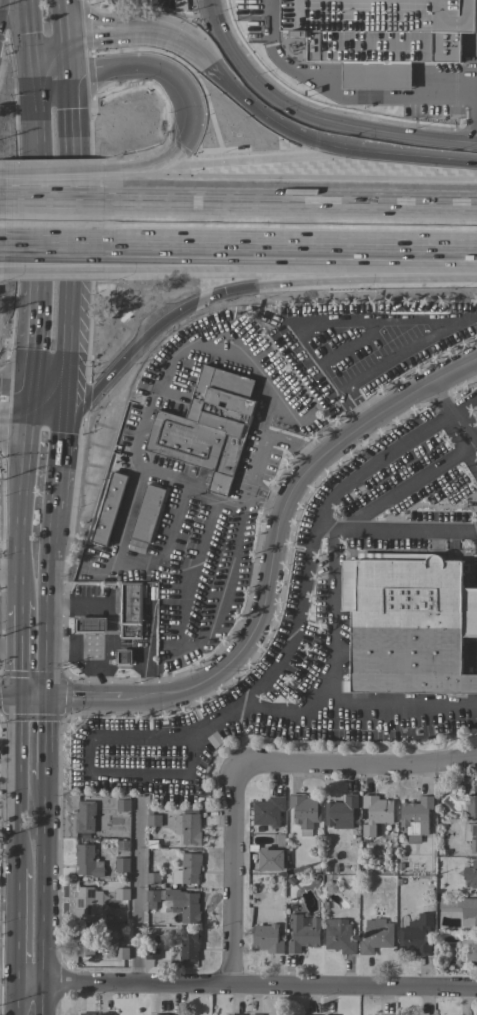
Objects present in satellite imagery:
building: (180, 5)
road: (2, 11)
road: (63, 26)
road: (29, 30)
building: (380, 36)
road: (135, 43)
traffic signals: (66, 52)
road: (49, 56)
traffic signals: (32, 60)
road: (222, 92)
road: (340, 94)
road: (193, 98)
road: (89, 105)
road: (312, 119)
road: (476, 121)
road: (70, 136)
road: (34, 139)
road: (208, 147)
road: (295, 150)
road: (255, 167)
road: (415, 169)
road: (130, 174)
road: (54, 178)
road: (2, 181)
road: (2, 200)
road: (54, 202)
road: (290, 204)
railway: (238, 225)
road: (2, 241)
road: (54, 242)
road: (159, 242)
road: (345, 243)
road: (159, 251)
road: (35, 253)
road: (54, 261)
road: (1, 263)
road: (192, 295)
road: (71, 300)
road: (382, 322)
road: (22, 331)
road: (350, 344)
road: (31, 349)
road: (164, 374)
traffic signals: (67, 379)
road: (51, 401)
road: (13, 411)
traffic signals: (27, 412)
road: (454, 418)
building: (208, 426)
road: (260, 453)
road: (164, 475)
road: (186, 487)
road: (403, 488)
road: (215, 502)
road: (21, 506)
building: (109, 508)
building: (148, 513)
road: (279, 528)
road: (174, 531)
road: (50, 539)
road: (204, 540)
road: (9, 565)
road: (153, 566)
building: (131, 609)
road: (221, 616)
building: (90, 625)
building: (408, 625)
road: (340, 631)
road: (109, 634)
road: (76, 645)
road: (18, 649)
road: (9, 655)
building: (123, 657)
road: (100, 672)
road: (256, 693)
traffic signals: (17, 697)
road: (21, 697)
traffic signals: (42, 699)
road: (80, 700)
road: (277, 706)
road: (41, 740)
road: (368, 763)
road: (17, 783)
building: (472, 804)
building: (123, 805)
building: (268, 811)
building: (305, 812)
building: (341, 812)
building: (376, 813)
building: (85, 816)
building: (416, 817)
building: (152, 818)
building: (188, 826)
building: (471, 836)
building: (123, 845)
building: (271, 859)
building: (87, 861)
building: (122, 865)
road: (232, 868)
building: (188, 869)
building: (471, 873)
building: (153, 878)
building: (121, 894)
road: (136, 896)
road: (41, 898)
building: (87, 902)
building: (177, 902)
building: (461, 909)
road: (15, 924)
building: (303, 933)
building: (376, 935)
building: (416, 935)
building: (339, 936)
building: (267, 938)
building: (87, 942)
building: (190, 945)
building: (465, 948)
building: (121, 953)
building: (152, 953)
road: (245, 989)
road: (14, 997)
building: (105, 1013)
building: (87, 1014)
building: (160, 1014)
building: (178, 1014)
building: (235, 1014)
building: (252, 1014)
building: (314, 1014)
building: (334, 1014)

